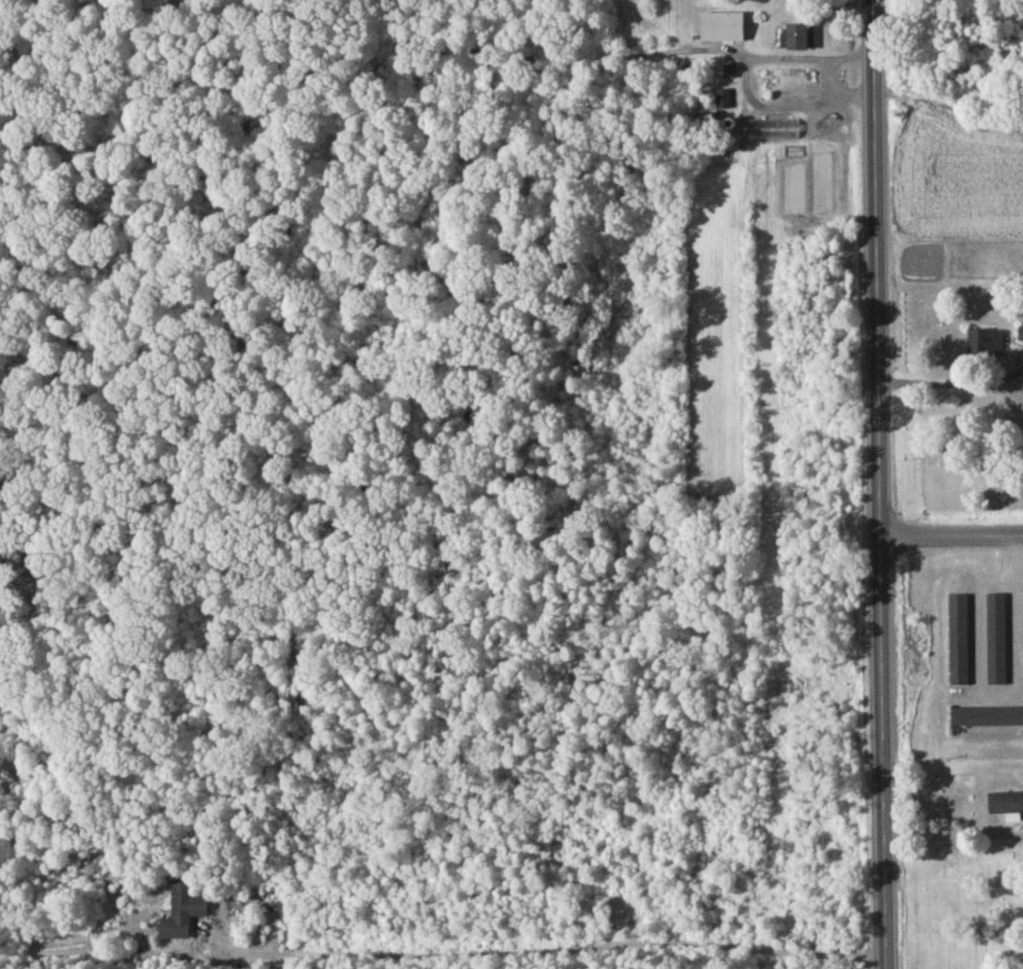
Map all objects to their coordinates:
building: (724, 31)
building: (799, 40)
road: (745, 82)
building: (773, 132)
building: (822, 181)
building: (794, 182)
building: (1021, 336)
building: (986, 347)
road: (928, 386)
road: (878, 484)
road: (951, 541)
road: (1014, 563)
road: (1019, 587)
road: (1016, 642)
building: (987, 720)
building: (1008, 805)
road: (953, 830)
building: (183, 914)
road: (540, 952)

